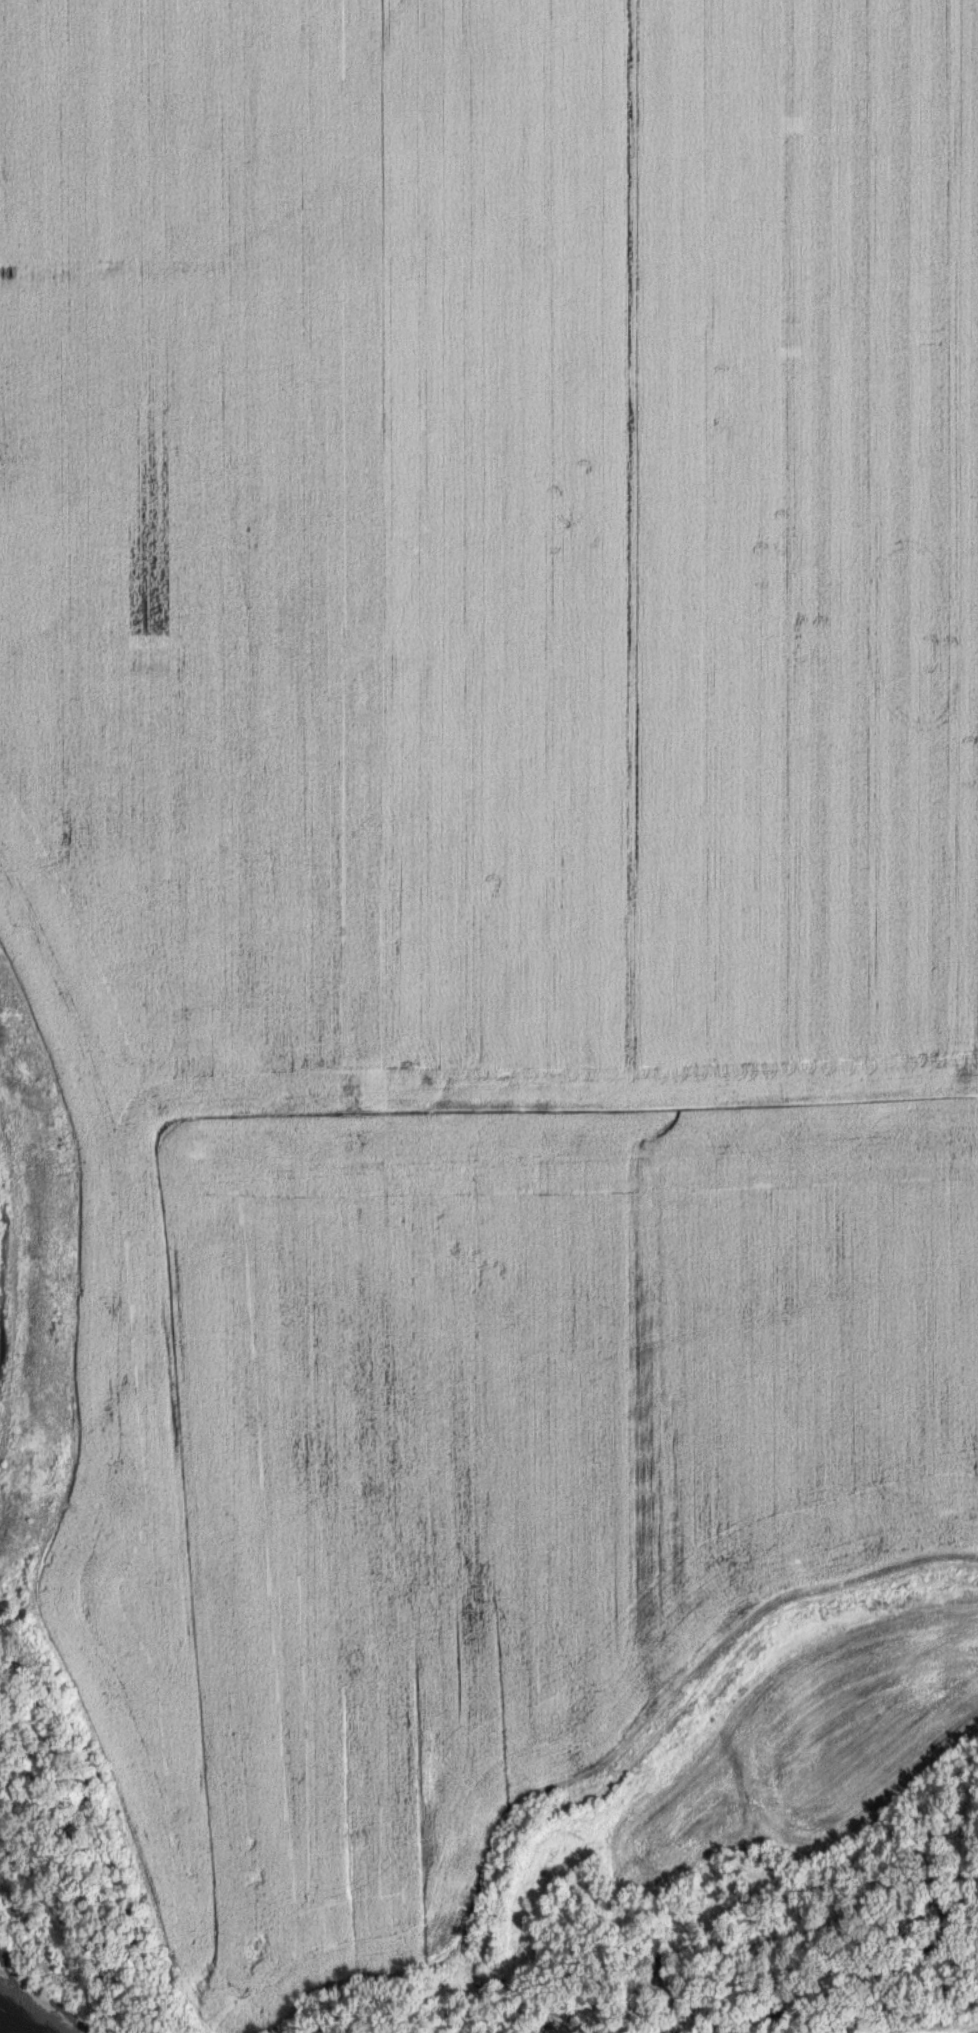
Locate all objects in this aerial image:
river: (28, 1999)

